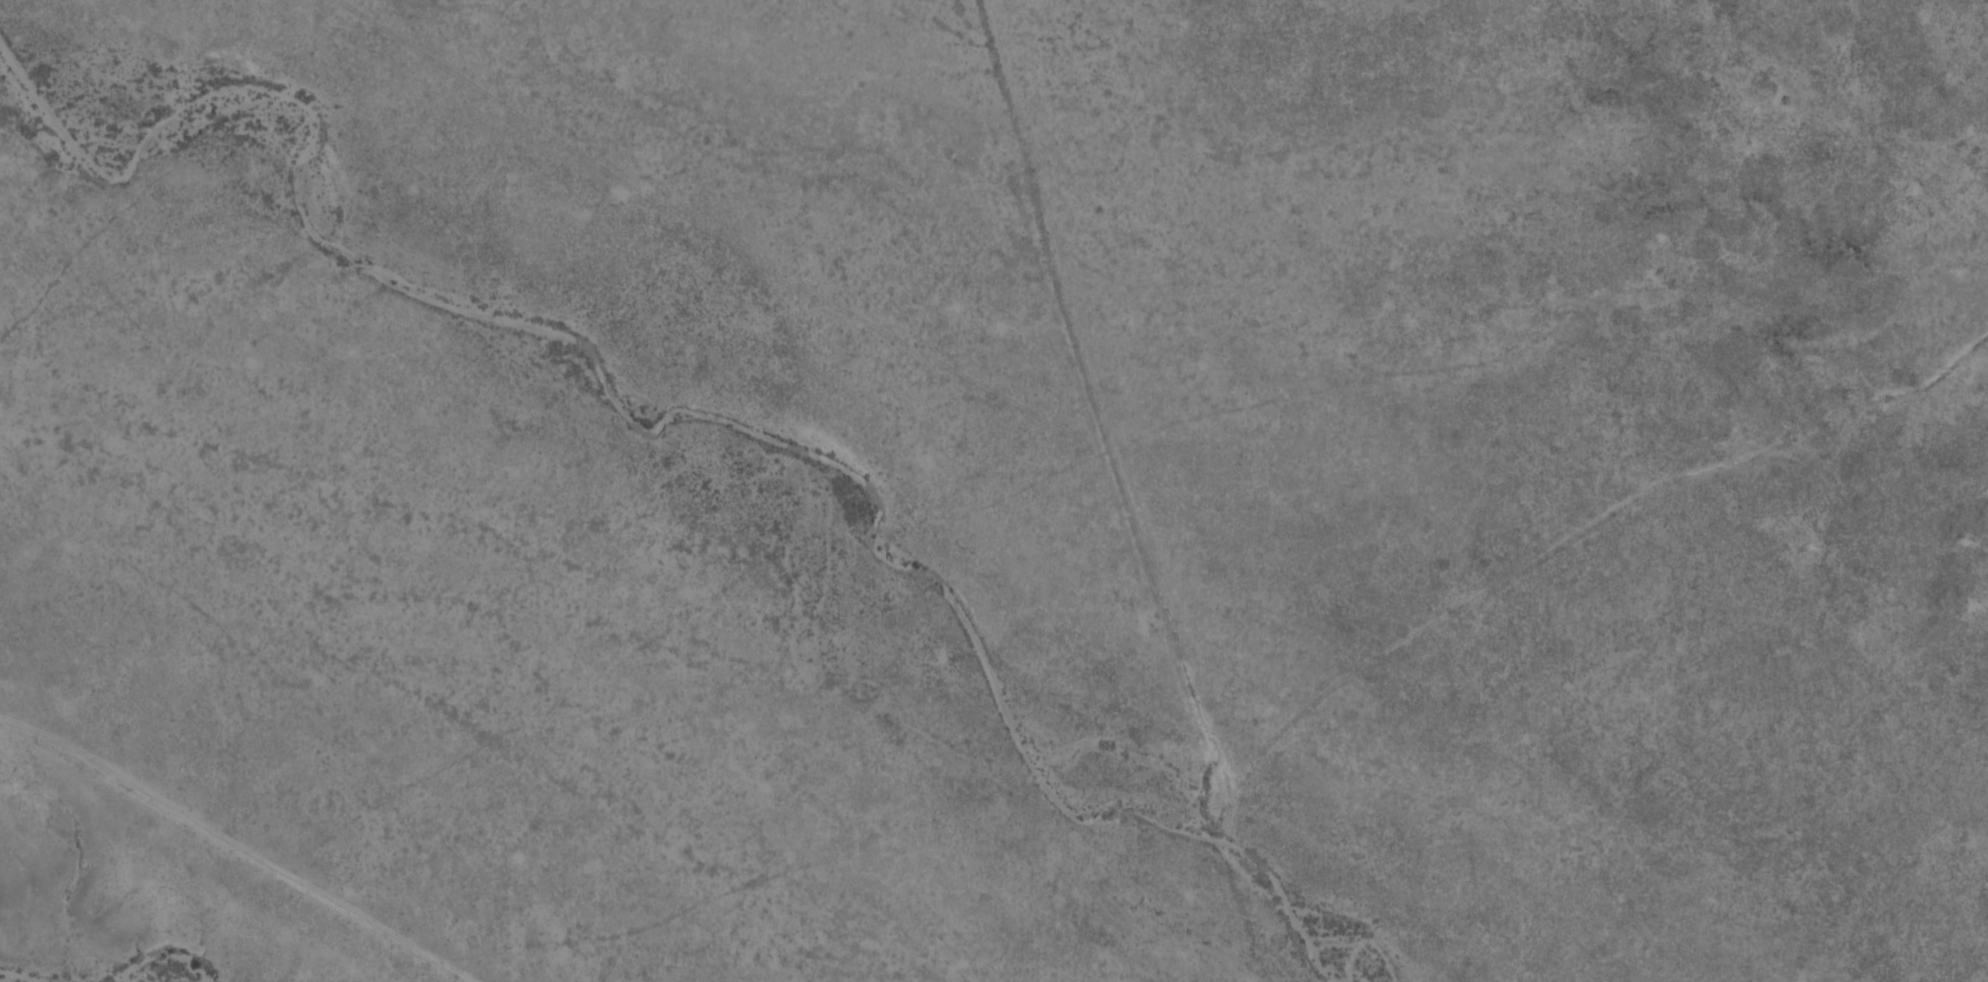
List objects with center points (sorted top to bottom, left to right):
road: (236, 848)

